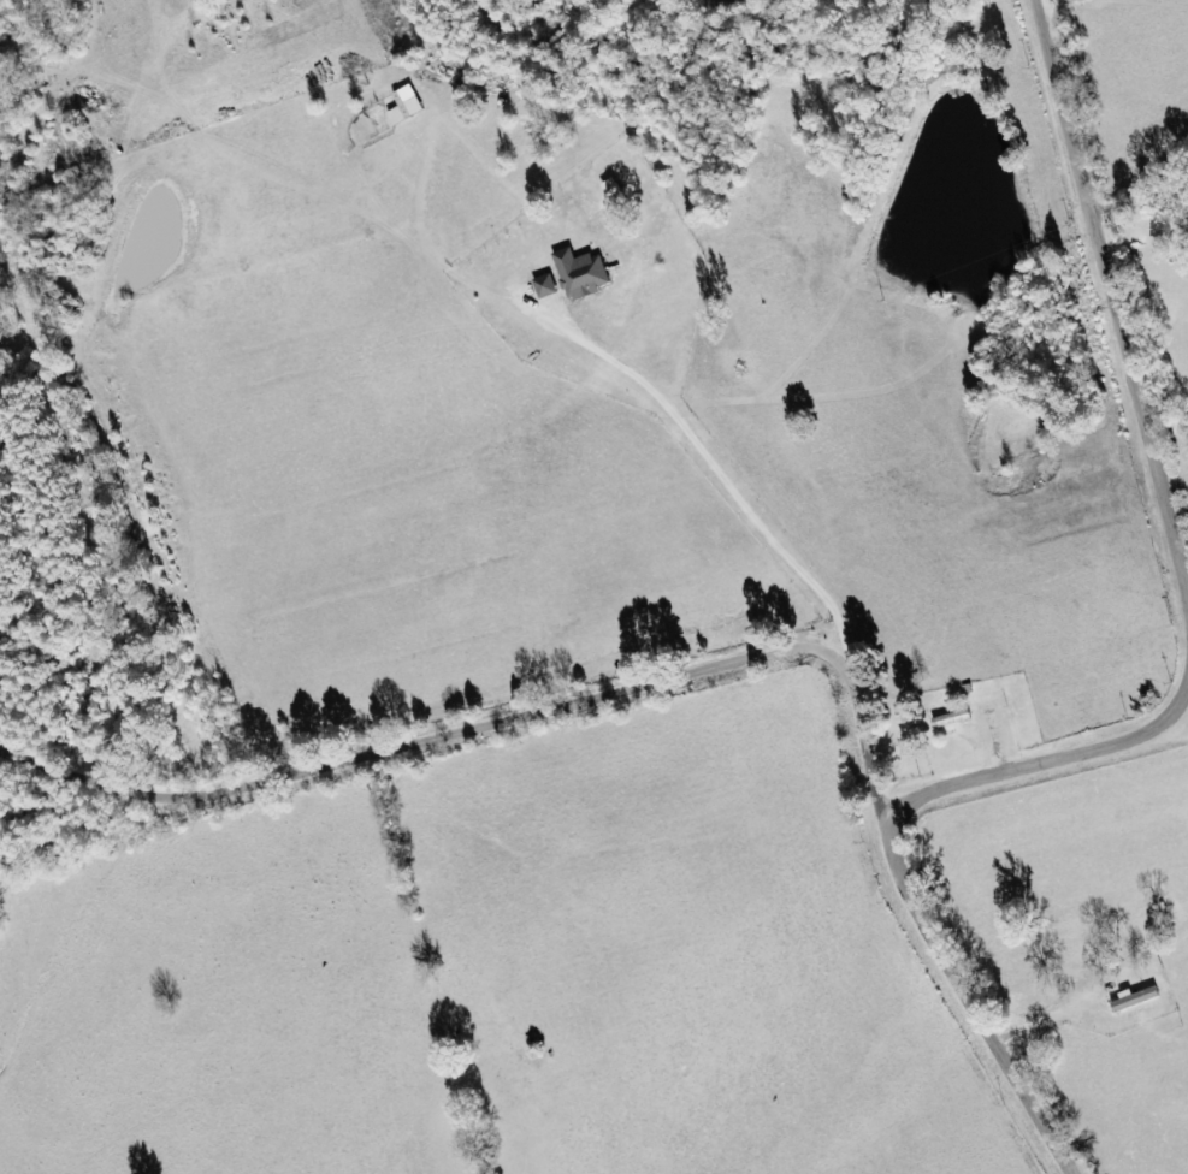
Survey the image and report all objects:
building: (408, 106)
building: (584, 273)
building: (548, 286)
road: (1109, 297)
road: (691, 674)
building: (953, 719)
road: (1041, 766)

